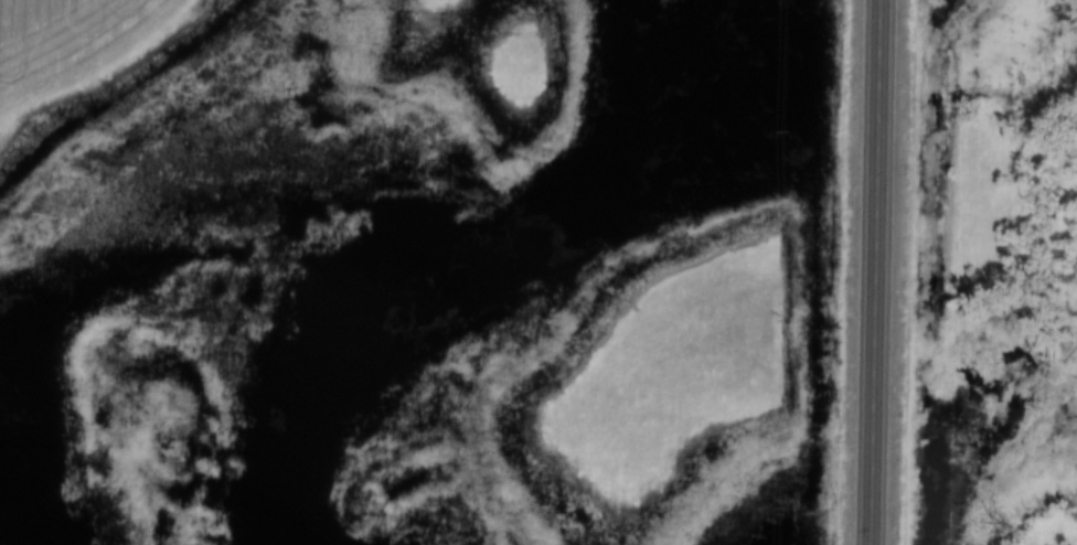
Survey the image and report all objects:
road: (882, 272)

